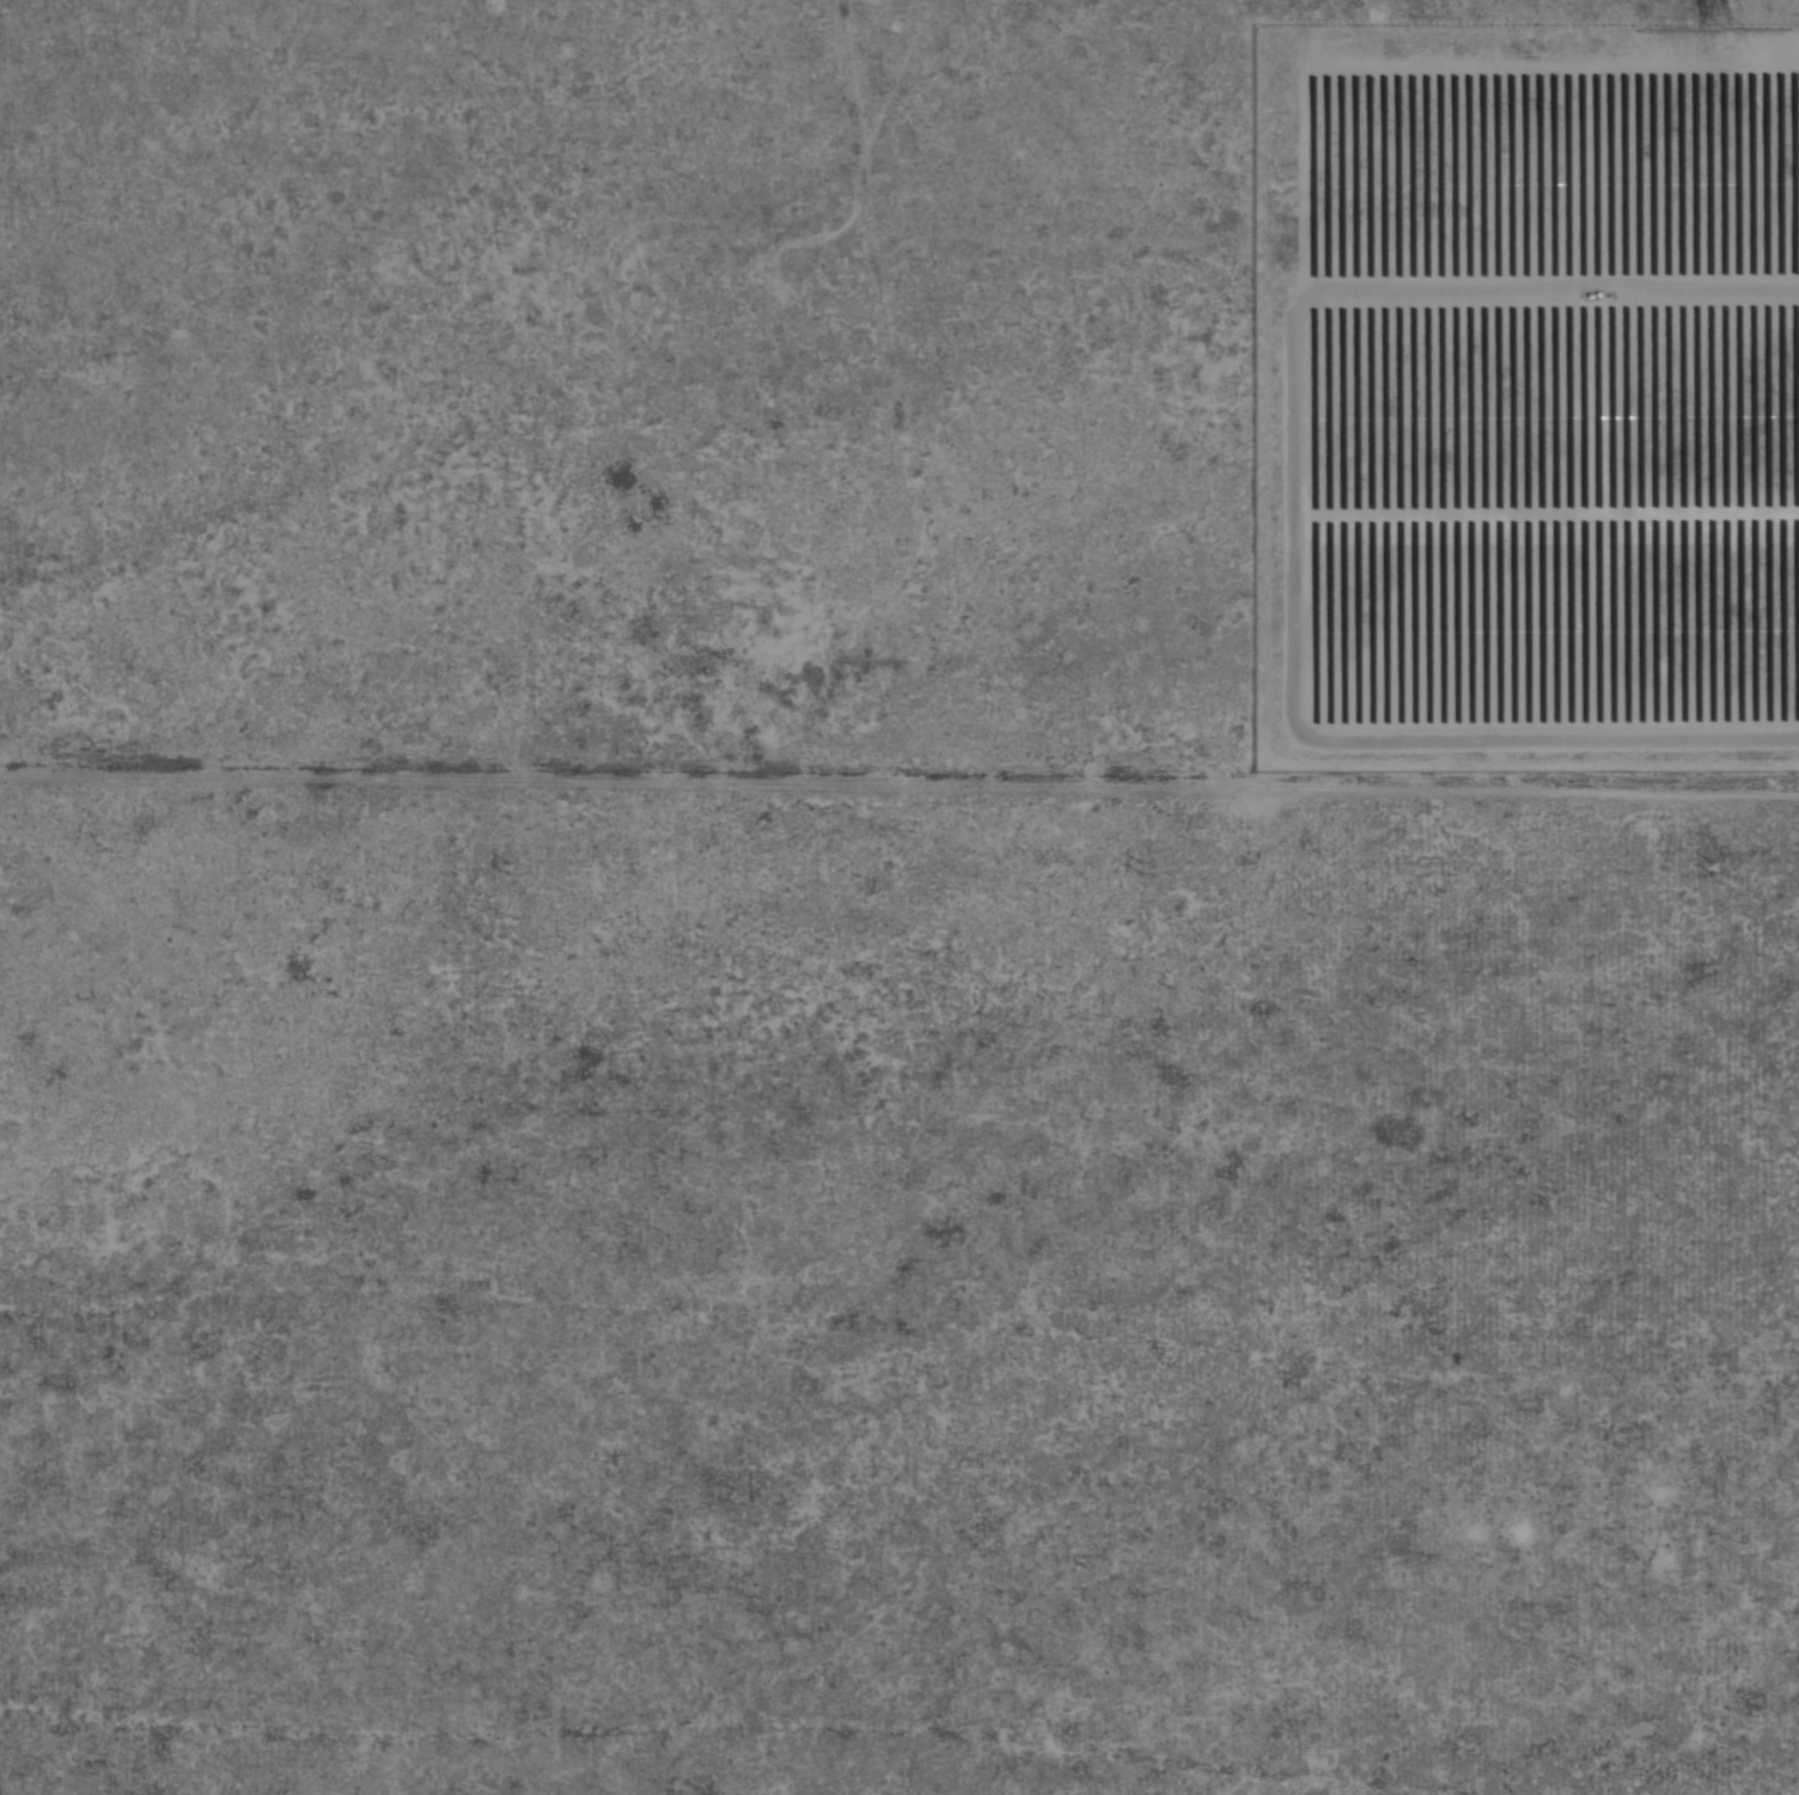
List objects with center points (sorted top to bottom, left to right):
solar farm: (1541, 383)
power tower: (1708, 865)
power tower: (507, 871)
power tower: (1138, 871)

